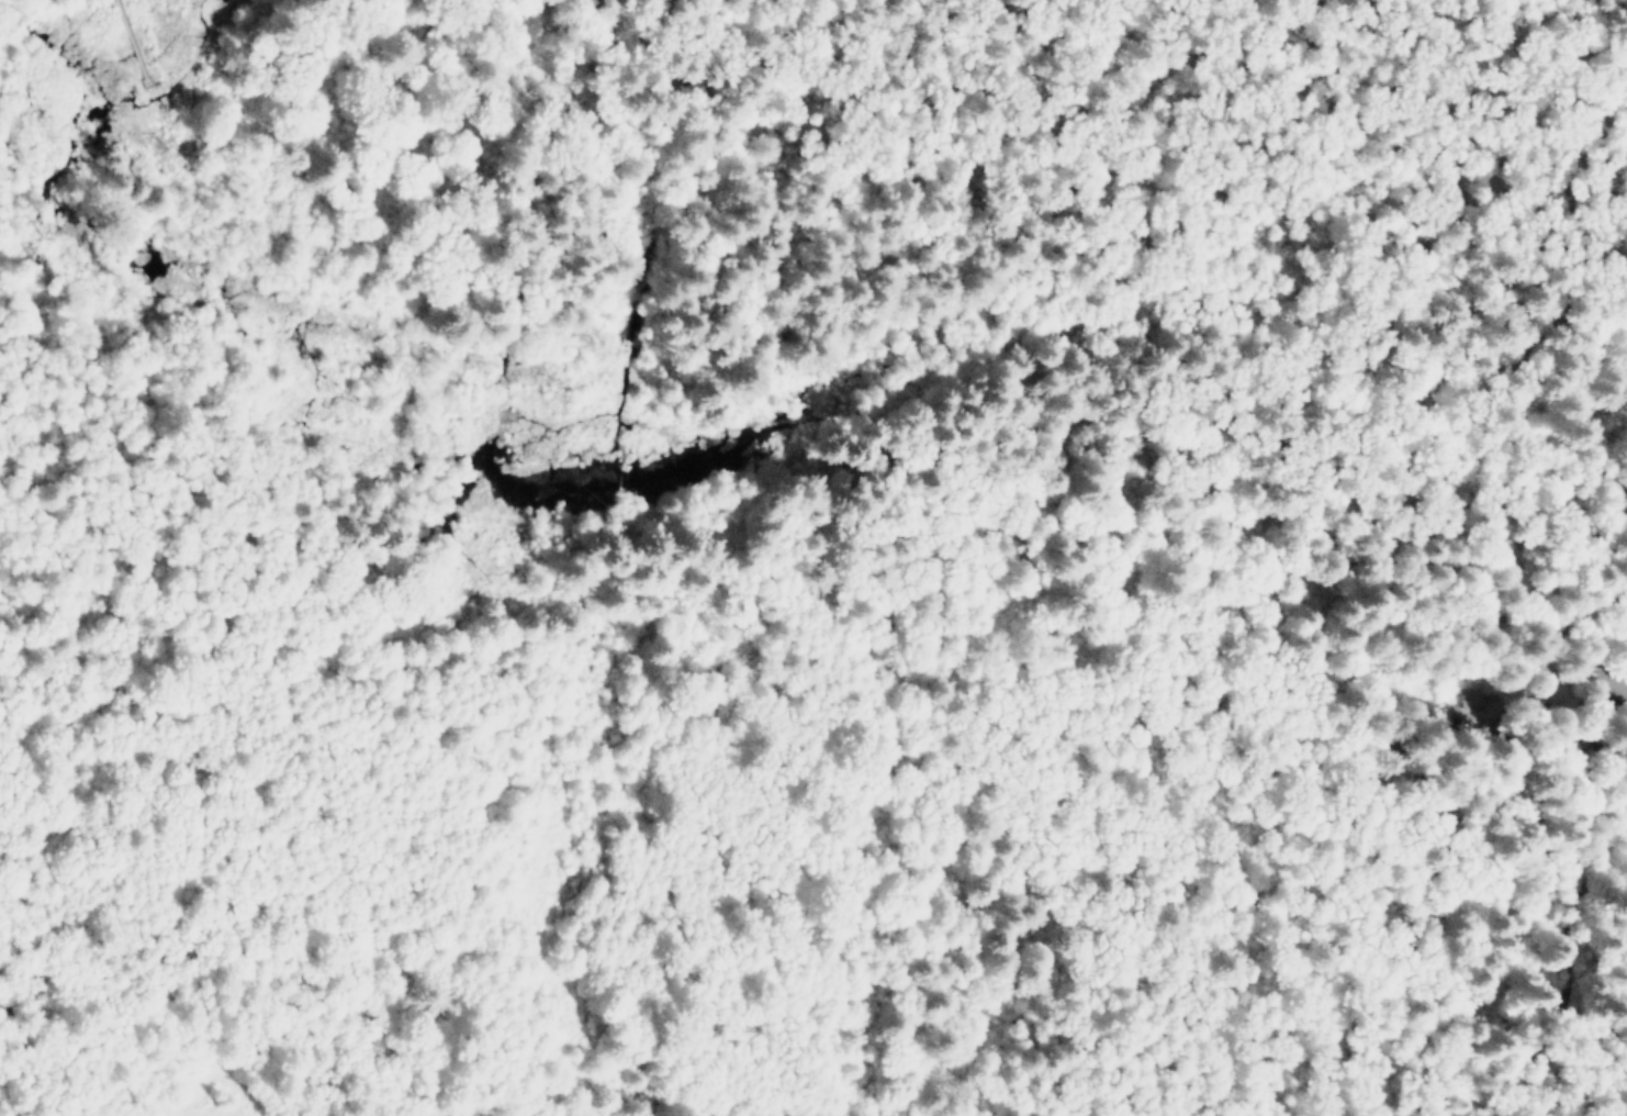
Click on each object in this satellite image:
road: (130, 41)
building: (1483, 701)

